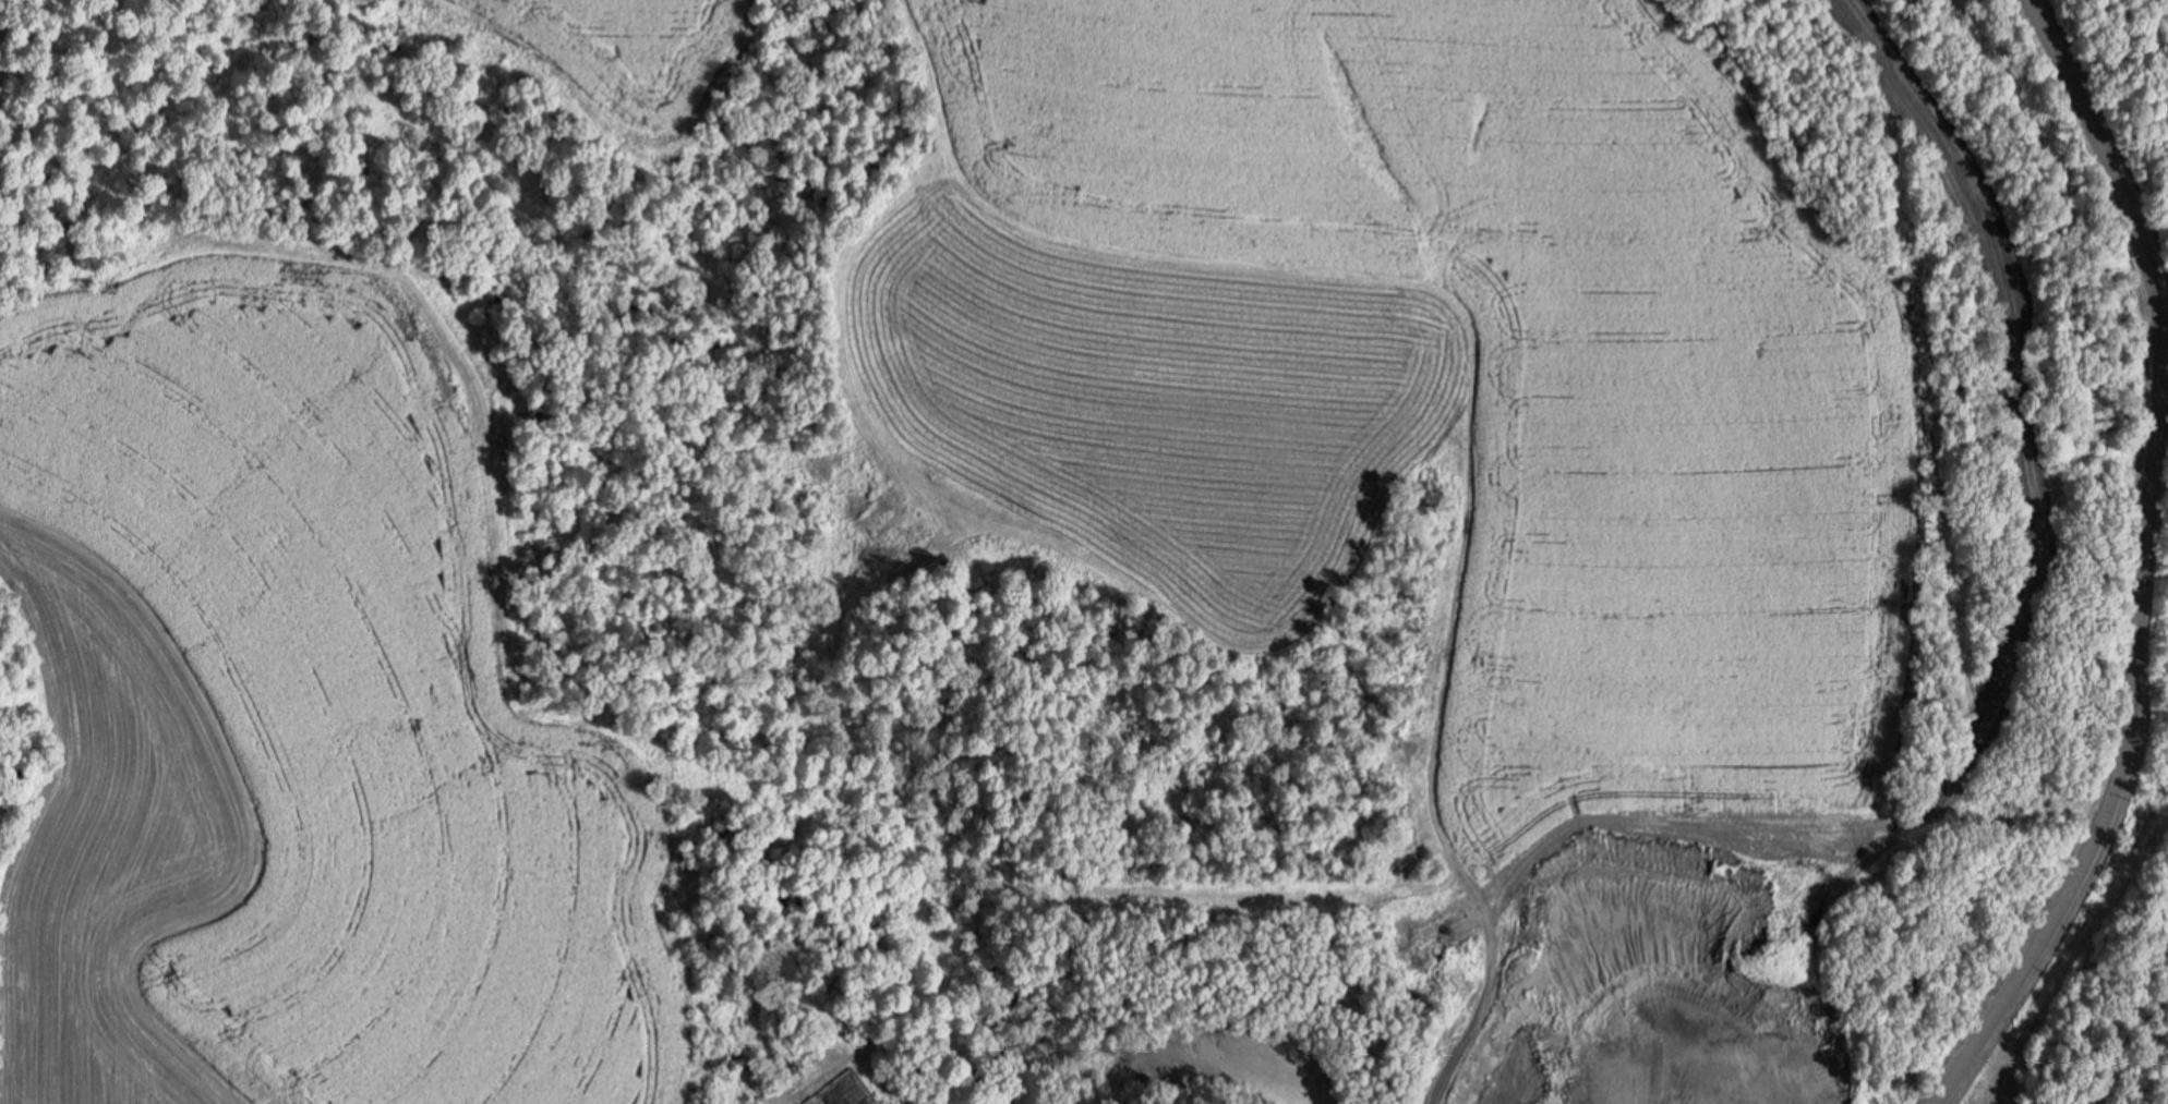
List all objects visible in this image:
road: (2143, 563)

